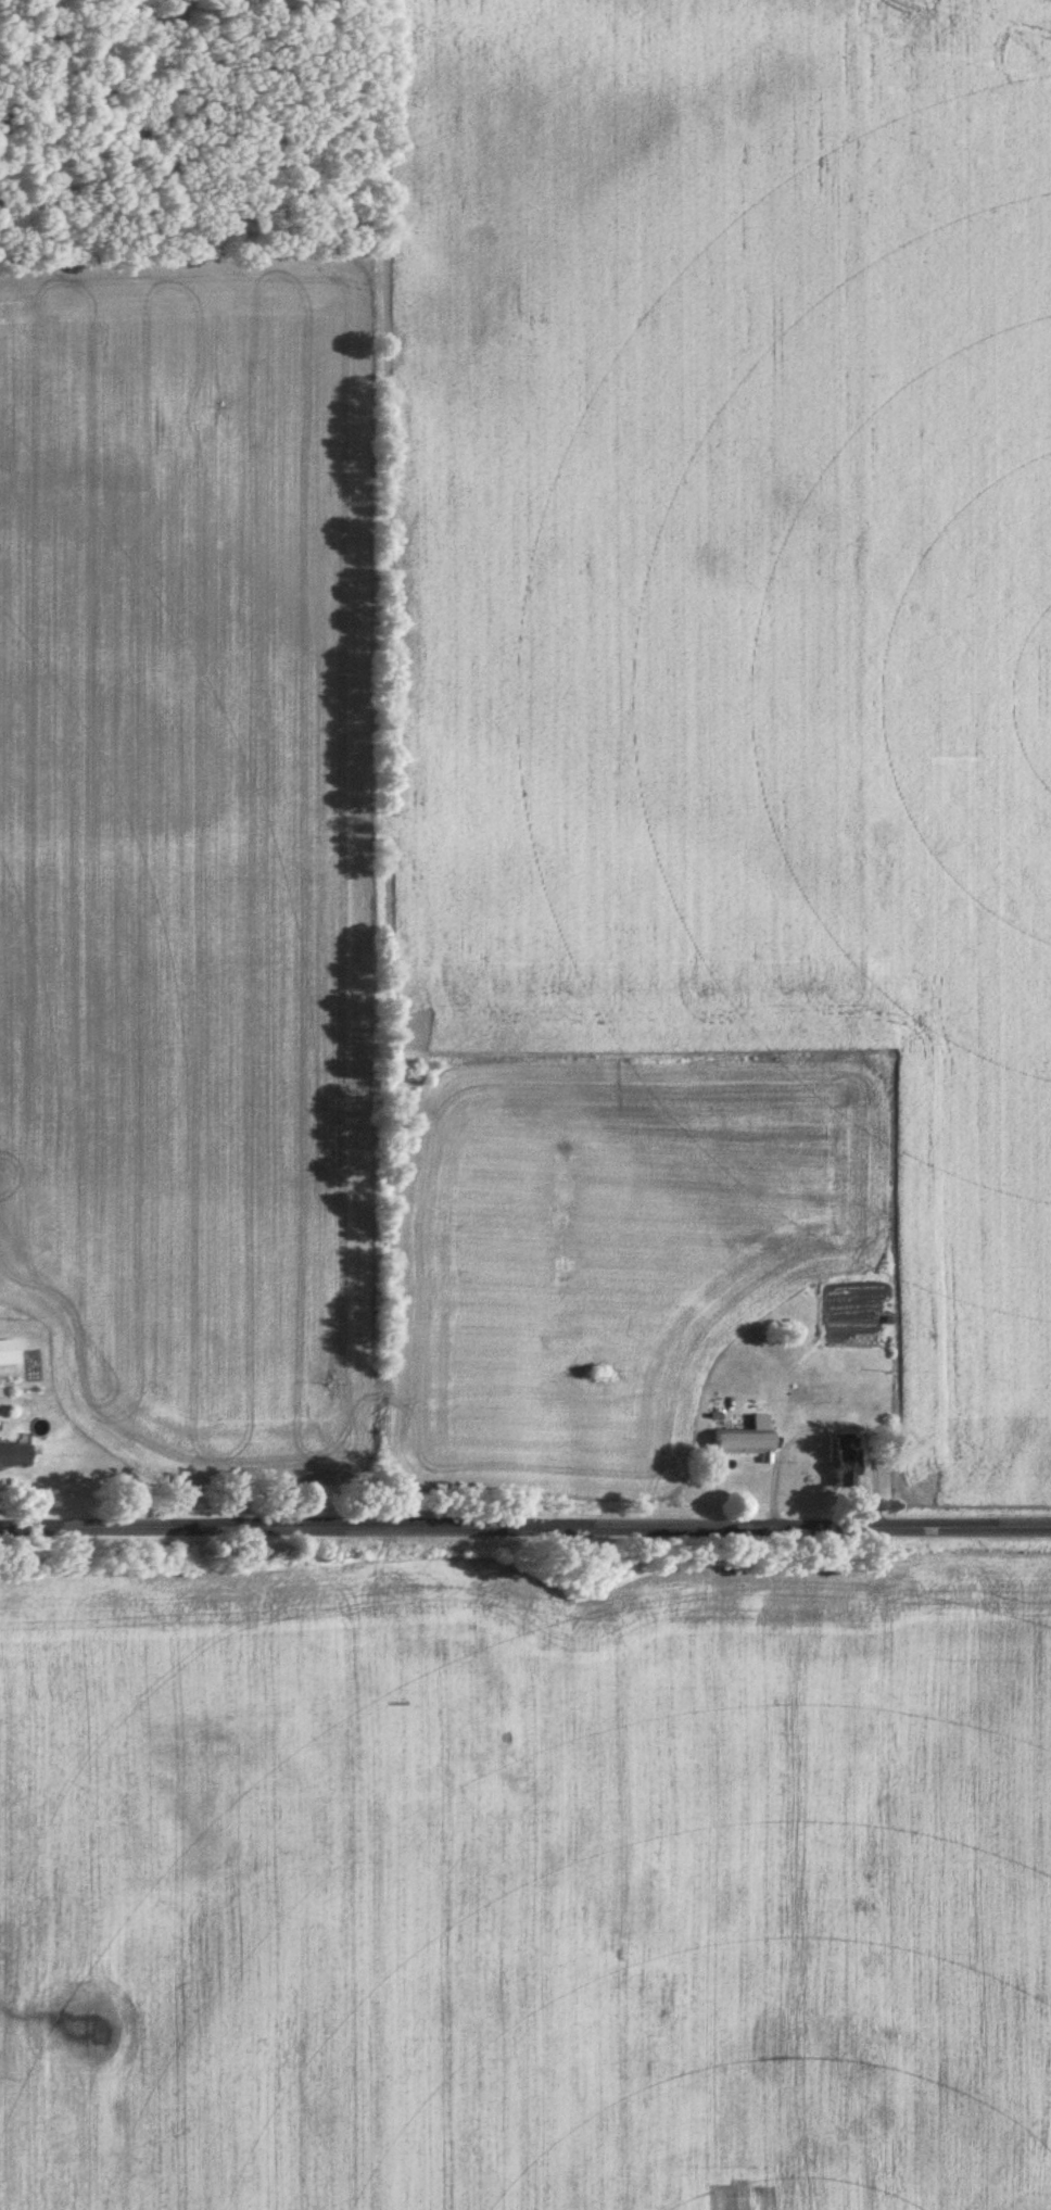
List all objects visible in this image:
building: (11, 1351)
building: (754, 1437)
building: (17, 1453)
building: (857, 1466)
road: (525, 1532)

